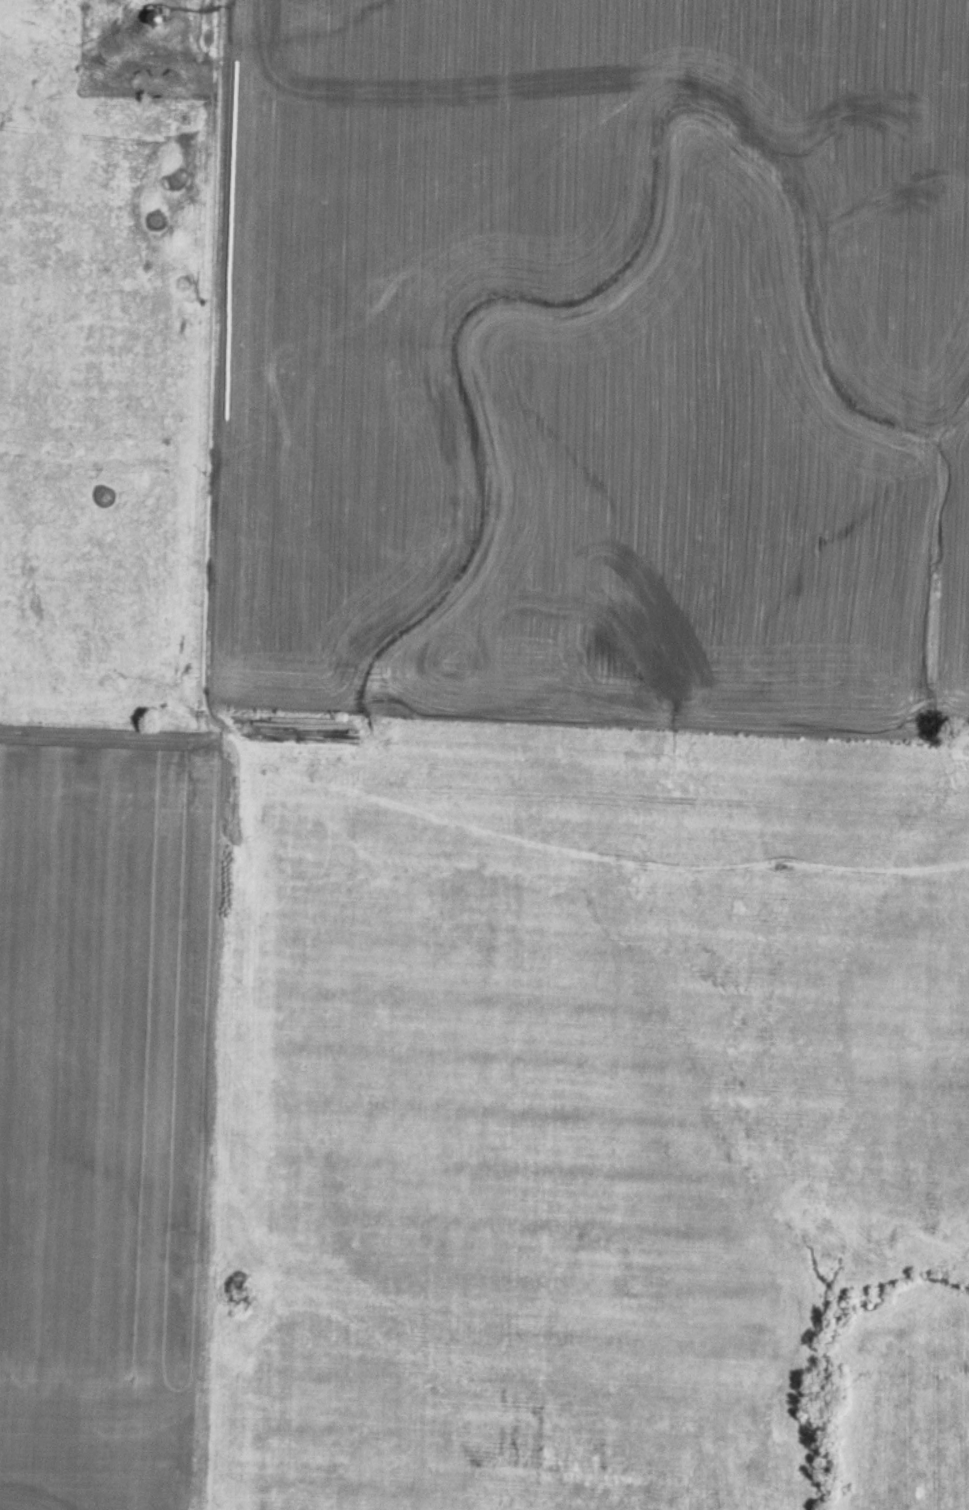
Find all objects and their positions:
building: (148, 18)

